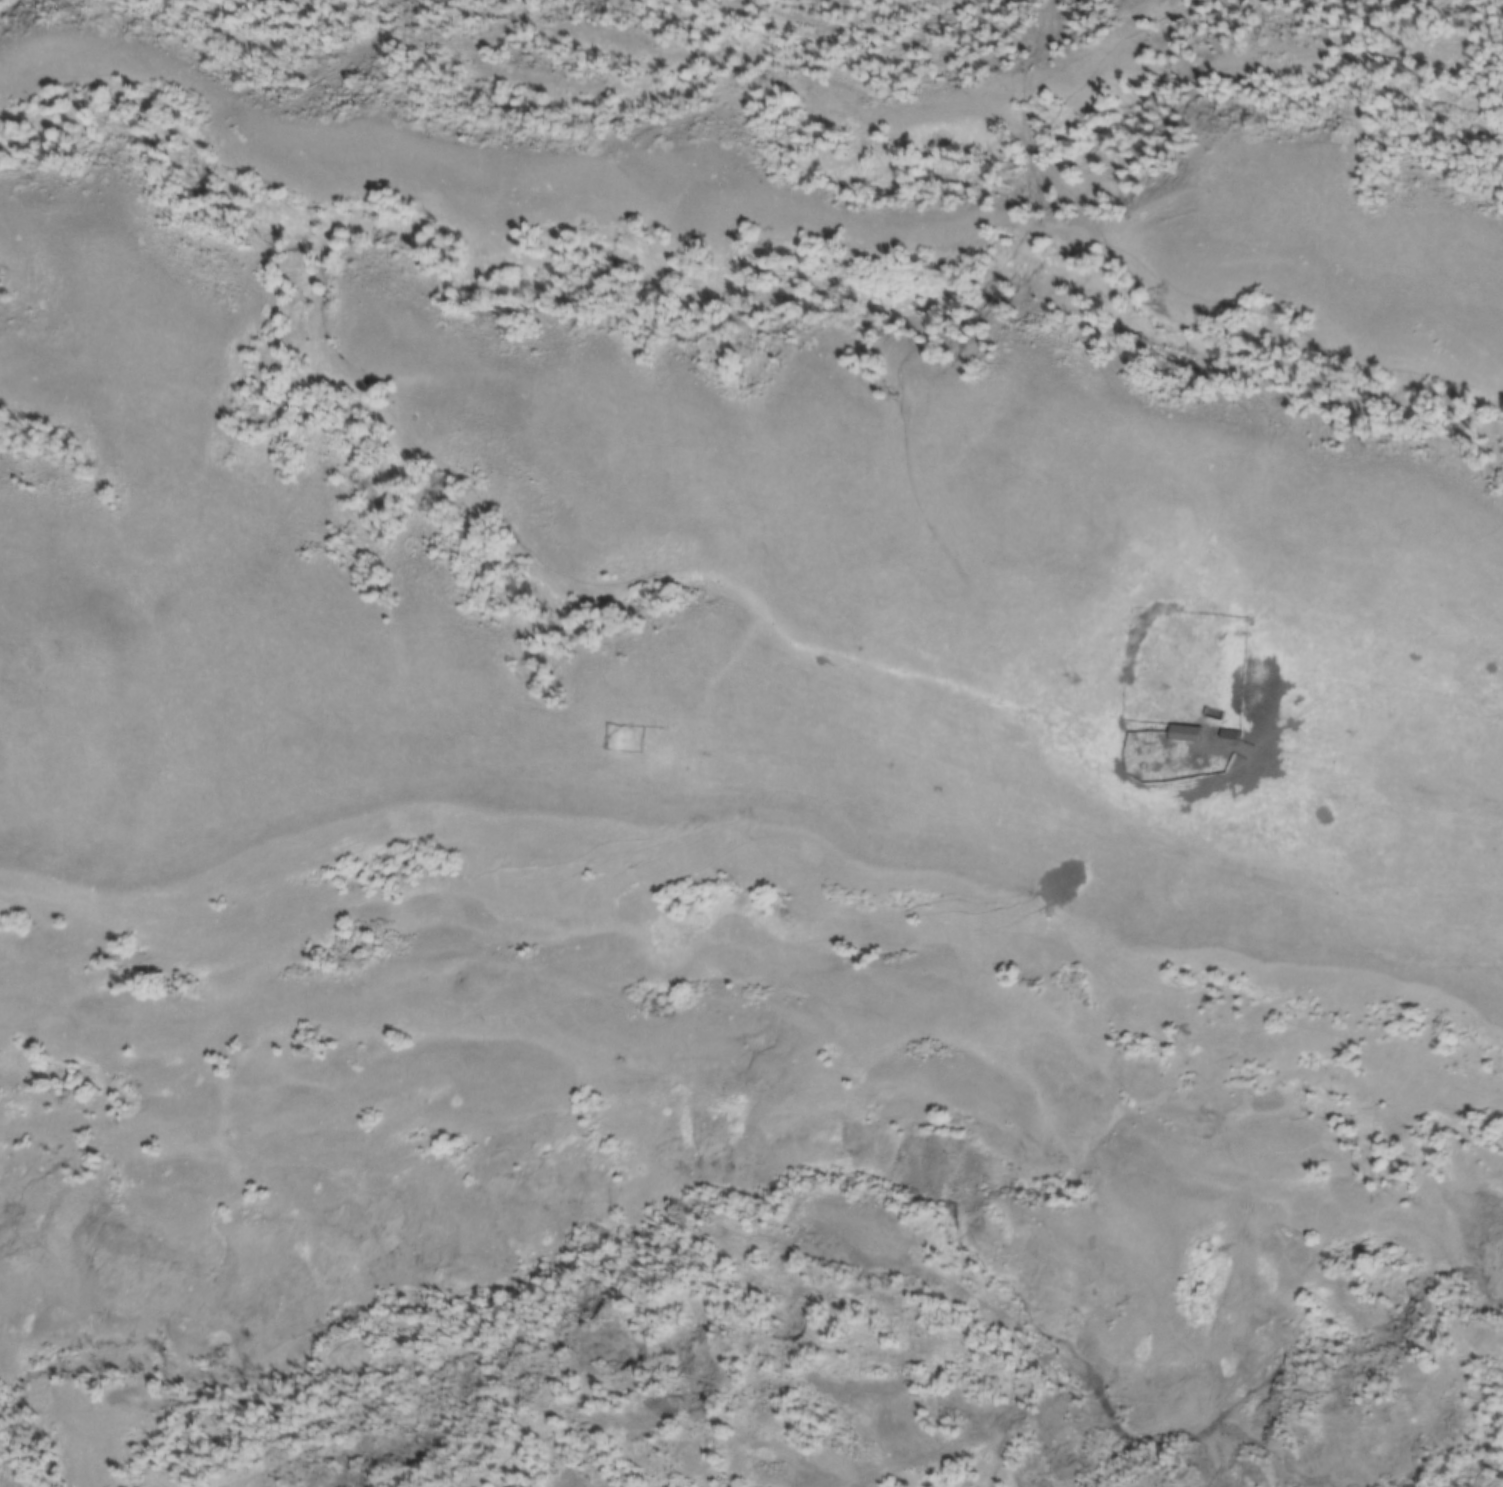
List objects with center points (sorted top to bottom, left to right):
building: (1183, 735)
road: (1400, 794)

